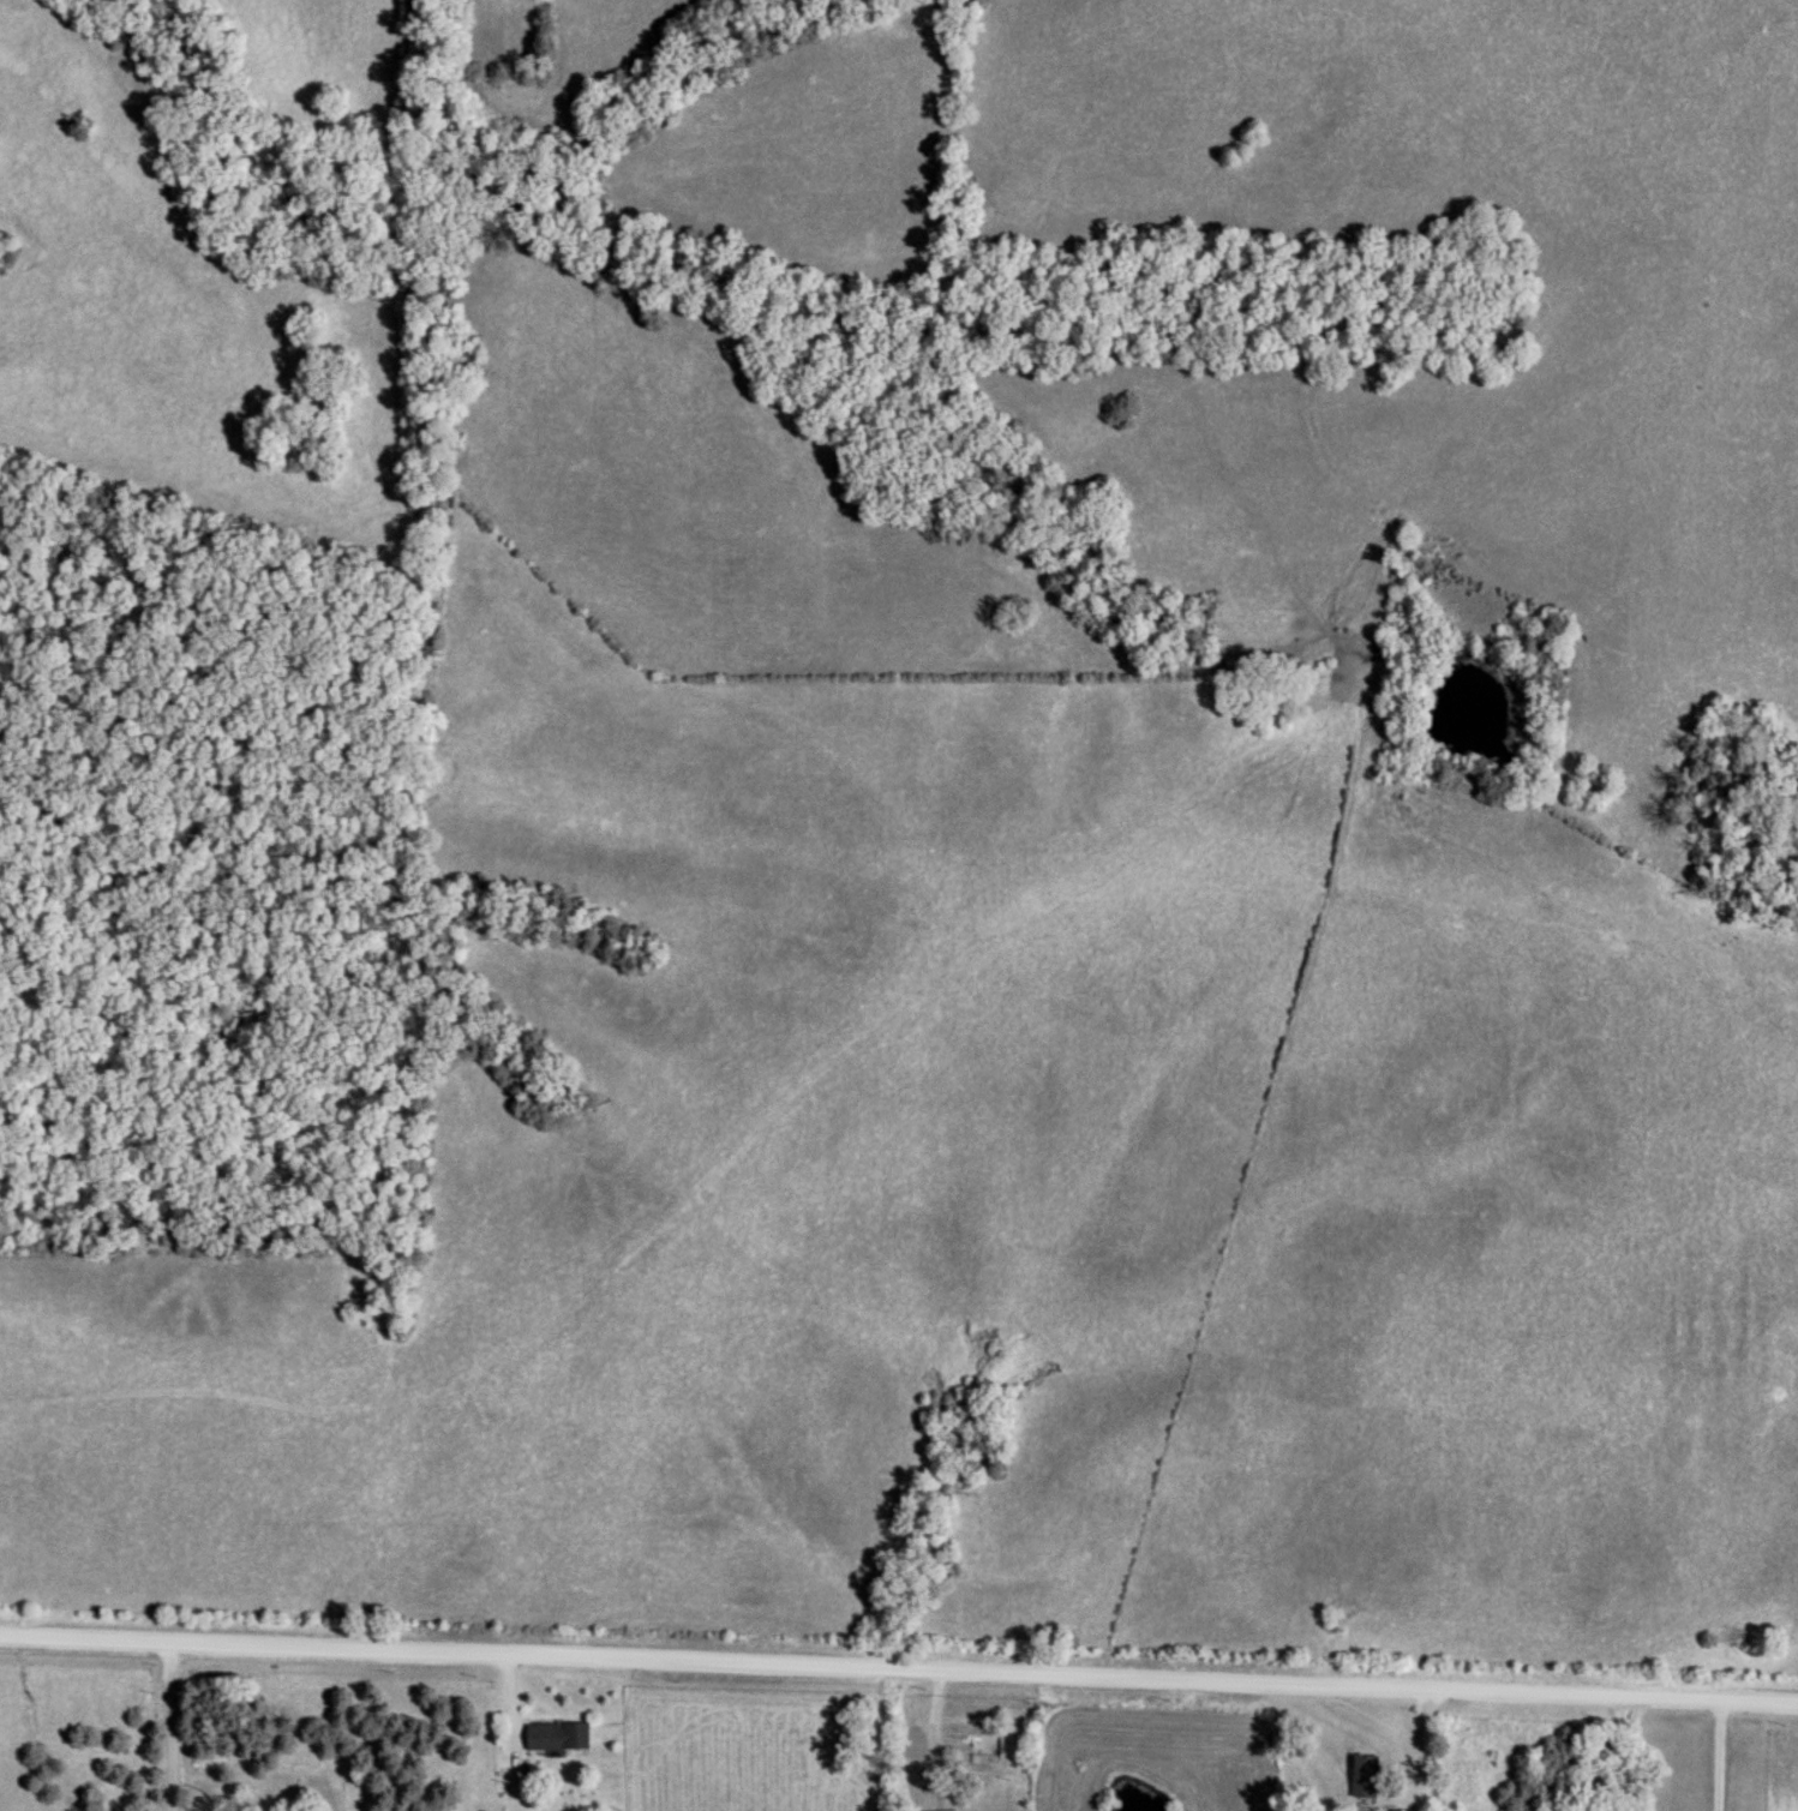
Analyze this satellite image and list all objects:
road: (898, 1672)
road: (176, 1727)
road: (525, 1733)
building: (561, 1735)
road: (940, 1739)
building: (988, 1744)
road: (1416, 1751)
road: (1714, 1757)
building: (1367, 1775)

